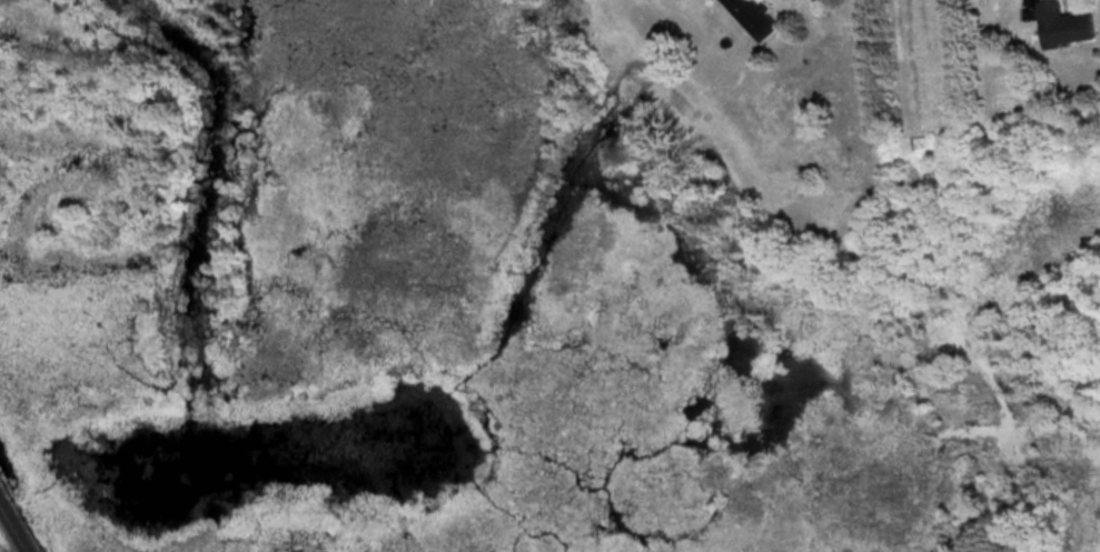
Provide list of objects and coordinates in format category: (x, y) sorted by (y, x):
building: (760, 17)
building: (1069, 23)
railway: (10, 531)

